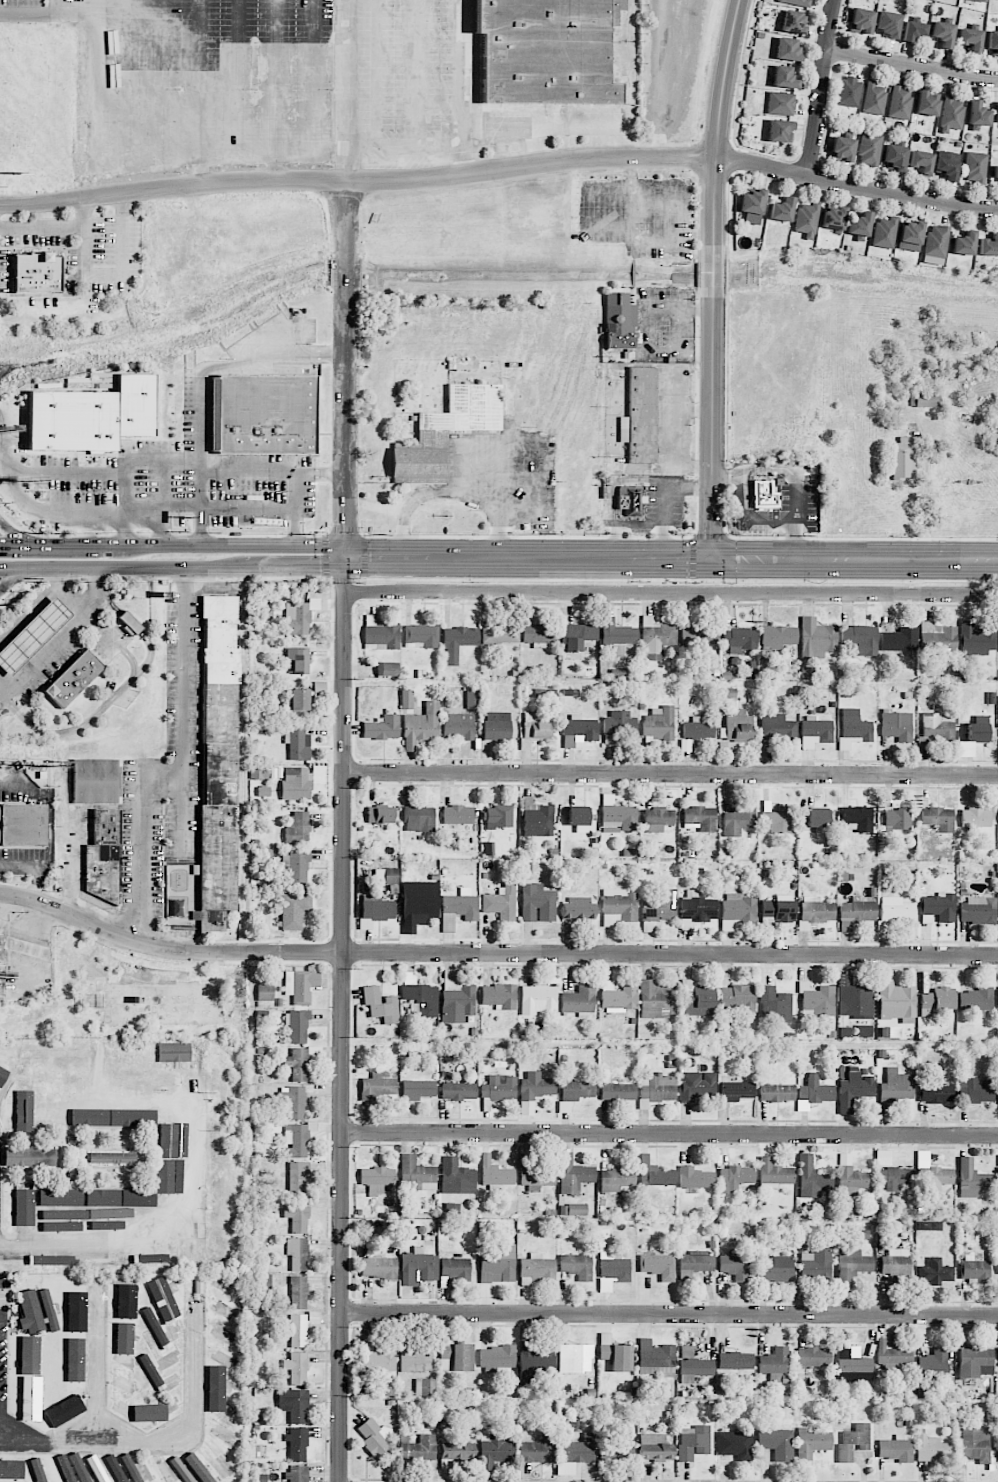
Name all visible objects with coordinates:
building: (980, 0)
building: (796, 2)
road: (63, 6)
building: (861, 21)
building: (793, 22)
building: (888, 23)
building: (913, 30)
building: (943, 33)
building: (970, 39)
building: (993, 43)
building: (787, 49)
building: (547, 50)
road: (913, 67)
building: (783, 77)
road: (460, 88)
road: (822, 89)
road: (345, 91)
building: (849, 92)
building: (873, 98)
building: (900, 102)
building: (780, 103)
building: (926, 104)
building: (997, 112)
road: (92, 113)
building: (951, 114)
building: (978, 114)
road: (548, 122)
building: (780, 131)
road: (535, 145)
building: (843, 148)
building: (869, 149)
building: (895, 158)
building: (921, 161)
building: (947, 165)
road: (529, 168)
building: (975, 168)
building: (995, 172)
road: (855, 186)
road: (172, 191)
building: (752, 206)
building: (782, 209)
building: (833, 218)
building: (806, 220)
building: (859, 224)
road: (55, 228)
building: (884, 232)
building: (910, 235)
building: (964, 243)
building: (935, 244)
building: (989, 246)
building: (37, 272)
road: (118, 272)
road: (713, 278)
building: (620, 321)
road: (345, 370)
road: (199, 382)
building: (926, 399)
building: (264, 413)
building: (93, 416)
building: (640, 416)
building: (446, 431)
road: (519, 436)
road: (462, 446)
building: (902, 457)
road: (248, 472)
road: (298, 485)
building: (764, 492)
road: (425, 494)
building: (630, 500)
road: (925, 503)
road: (93, 512)
road: (162, 528)
road: (126, 529)
road: (13, 536)
road: (14, 544)
road: (78, 545)
road: (237, 545)
traffic signals: (344, 558)
road: (528, 558)
traffic signals: (712, 559)
road: (855, 559)
road: (123, 567)
road: (296, 568)
road: (16, 576)
road: (76, 593)
road: (671, 593)
road: (42, 605)
road: (34, 608)
road: (52, 616)
building: (299, 616)
road: (29, 617)
building: (130, 624)
road: (63, 628)
road: (39, 629)
road: (14, 633)
building: (535, 633)
building: (380, 634)
building: (500, 634)
building: (32, 635)
gas station: (32, 635)
building: (618, 635)
building: (699, 635)
road: (60, 636)
building: (578, 636)
building: (778, 637)
building: (977, 637)
building: (656, 638)
building: (739, 639)
building: (816, 639)
building: (860, 639)
building: (899, 639)
building: (936, 640)
road: (50, 641)
building: (458, 642)
road: (24, 644)
road: (1, 648)
road: (35, 657)
road: (10, 658)
building: (298, 660)
building: (387, 669)
road: (21, 671)
building: (74, 678)
road: (3, 688)
building: (319, 688)
building: (472, 698)
building: (406, 699)
road: (104, 704)
building: (300, 704)
building: (659, 723)
building: (619, 724)
building: (421, 725)
building: (458, 725)
building: (896, 725)
building: (997, 725)
building: (497, 726)
building: (778, 726)
building: (936, 726)
building: (382, 728)
building: (853, 728)
building: (533, 729)
building: (697, 729)
building: (978, 729)
building: (578, 730)
building: (735, 730)
building: (815, 733)
building: (298, 744)
building: (218, 761)
road: (181, 771)
building: (259, 772)
road: (670, 774)
building: (97, 781)
building: (296, 783)
building: (563, 814)
building: (380, 815)
building: (457, 815)
building: (499, 816)
building: (617, 816)
building: (699, 817)
building: (817, 817)
building: (858, 817)
building: (975, 817)
building: (578, 818)
building: (777, 818)
building: (938, 818)
building: (419, 819)
building: (537, 819)
building: (658, 819)
building: (896, 819)
building: (737, 820)
building: (23, 824)
building: (297, 828)
building: (103, 856)
road: (37, 866)
building: (386, 876)
building: (501, 901)
building: (537, 903)
building: (418, 904)
building: (618, 906)
building: (661, 906)
building: (938, 906)
building: (697, 907)
building: (458, 908)
building: (578, 909)
building: (777, 909)
building: (816, 909)
building: (294, 910)
building: (375, 910)
building: (737, 910)
building: (978, 910)
road: (13, 911)
building: (857, 911)
building: (1, 945)
road: (493, 955)
building: (2, 980)
building: (300, 985)
building: (265, 992)
building: (498, 996)
building: (618, 997)
building: (855, 998)
building: (421, 999)
building: (455, 999)
building: (538, 999)
building: (656, 999)
building: (696, 999)
building: (736, 999)
building: (579, 1000)
building: (817, 1000)
building: (896, 1001)
building: (935, 1001)
building: (976, 1001)
building: (380, 1004)
building: (774, 1005)
road: (341, 1019)
building: (297, 1027)
building: (865, 1030)
building: (63, 1048)
building: (15, 1052)
building: (174, 1052)
building: (100, 1060)
building: (299, 1062)
building: (152, 1068)
building: (186, 1080)
building: (5, 1082)
building: (135, 1085)
building: (696, 1085)
building: (377, 1086)
building: (535, 1086)
building: (896, 1086)
building: (997, 1086)
building: (499, 1088)
building: (854, 1088)
building: (418, 1089)
building: (576, 1090)
building: (656, 1090)
building: (815, 1090)
building: (976, 1090)
building: (458, 1091)
building: (618, 1091)
building: (735, 1091)
building: (935, 1092)
building: (776, 1093)
building: (293, 1101)
building: (111, 1107)
building: (564, 1107)
building: (23, 1111)
building: (154, 1112)
building: (51, 1117)
building: (91, 1120)
road: (669, 1136)
building: (166, 1137)
building: (297, 1139)
building: (29, 1157)
building: (112, 1157)
building: (180, 1158)
building: (932, 1171)
building: (206, 1172)
building: (774, 1172)
building: (417, 1173)
building: (495, 1173)
building: (654, 1173)
building: (165, 1176)
building: (298, 1177)
building: (456, 1177)
building: (734, 1177)
building: (895, 1177)
building: (537, 1178)
building: (575, 1178)
building: (695, 1178)
building: (812, 1178)
building: (377, 1179)
building: (972, 1179)
building: (617, 1180)
building: (853, 1181)
building: (61, 1197)
building: (103, 1197)
building: (140, 1198)
building: (574, 1209)
building: (19, 1210)
building: (297, 1216)
building: (929, 1225)
building: (132, 1228)
road: (151, 1237)
building: (111, 1238)
building: (205, 1239)
building: (192, 1243)
building: (176, 1246)
building: (297, 1254)
building: (57, 1262)
building: (496, 1262)
building: (896, 1262)
building: (15, 1263)
building: (694, 1263)
building: (657, 1264)
building: (576, 1265)
building: (816, 1265)
building: (852, 1265)
building: (378, 1266)
building: (734, 1266)
building: (417, 1267)
building: (975, 1267)
building: (536, 1268)
building: (777, 1268)
building: (453, 1270)
building: (612, 1270)
building: (934, 1272)
building: (4, 1285)
building: (262, 1291)
building: (298, 1292)
building: (126, 1304)
building: (36, 1311)
building: (76, 1315)
road: (669, 1315)
building: (146, 1322)
building: (301, 1327)
building: (123, 1347)
building: (655, 1354)
building: (29, 1356)
building: (617, 1356)
building: (814, 1356)
building: (445, 1357)
building: (462, 1357)
building: (892, 1357)
building: (76, 1358)
building: (376, 1358)
building: (574, 1358)
building: (735, 1361)
building: (774, 1361)
building: (974, 1361)
road: (97, 1362)
building: (537, 1364)
building: (693, 1365)
building: (853, 1365)
building: (933, 1365)
building: (296, 1367)
building: (221, 1373)
building: (425, 1387)
building: (121, 1388)
building: (27, 1397)
building: (217, 1398)
building: (294, 1404)
building: (62, 1412)
building: (218, 1423)
building: (375, 1437)
road: (163, 1441)
building: (693, 1442)
building: (812, 1442)
building: (853, 1442)
building: (297, 1443)
building: (776, 1443)
building: (976, 1444)
building: (735, 1445)
building: (418, 1447)
building: (619, 1447)
building: (654, 1447)
building: (578, 1449)
building: (895, 1449)
building: (933, 1449)
building: (538, 1450)
building: (495, 1451)
building: (455, 1453)
building: (218, 1455)
building: (564, 1468)
building: (207, 1469)
building: (14, 1470)
building: (38, 1470)
building: (296, 1473)
building: (195, 1475)
building: (100, 1478)

